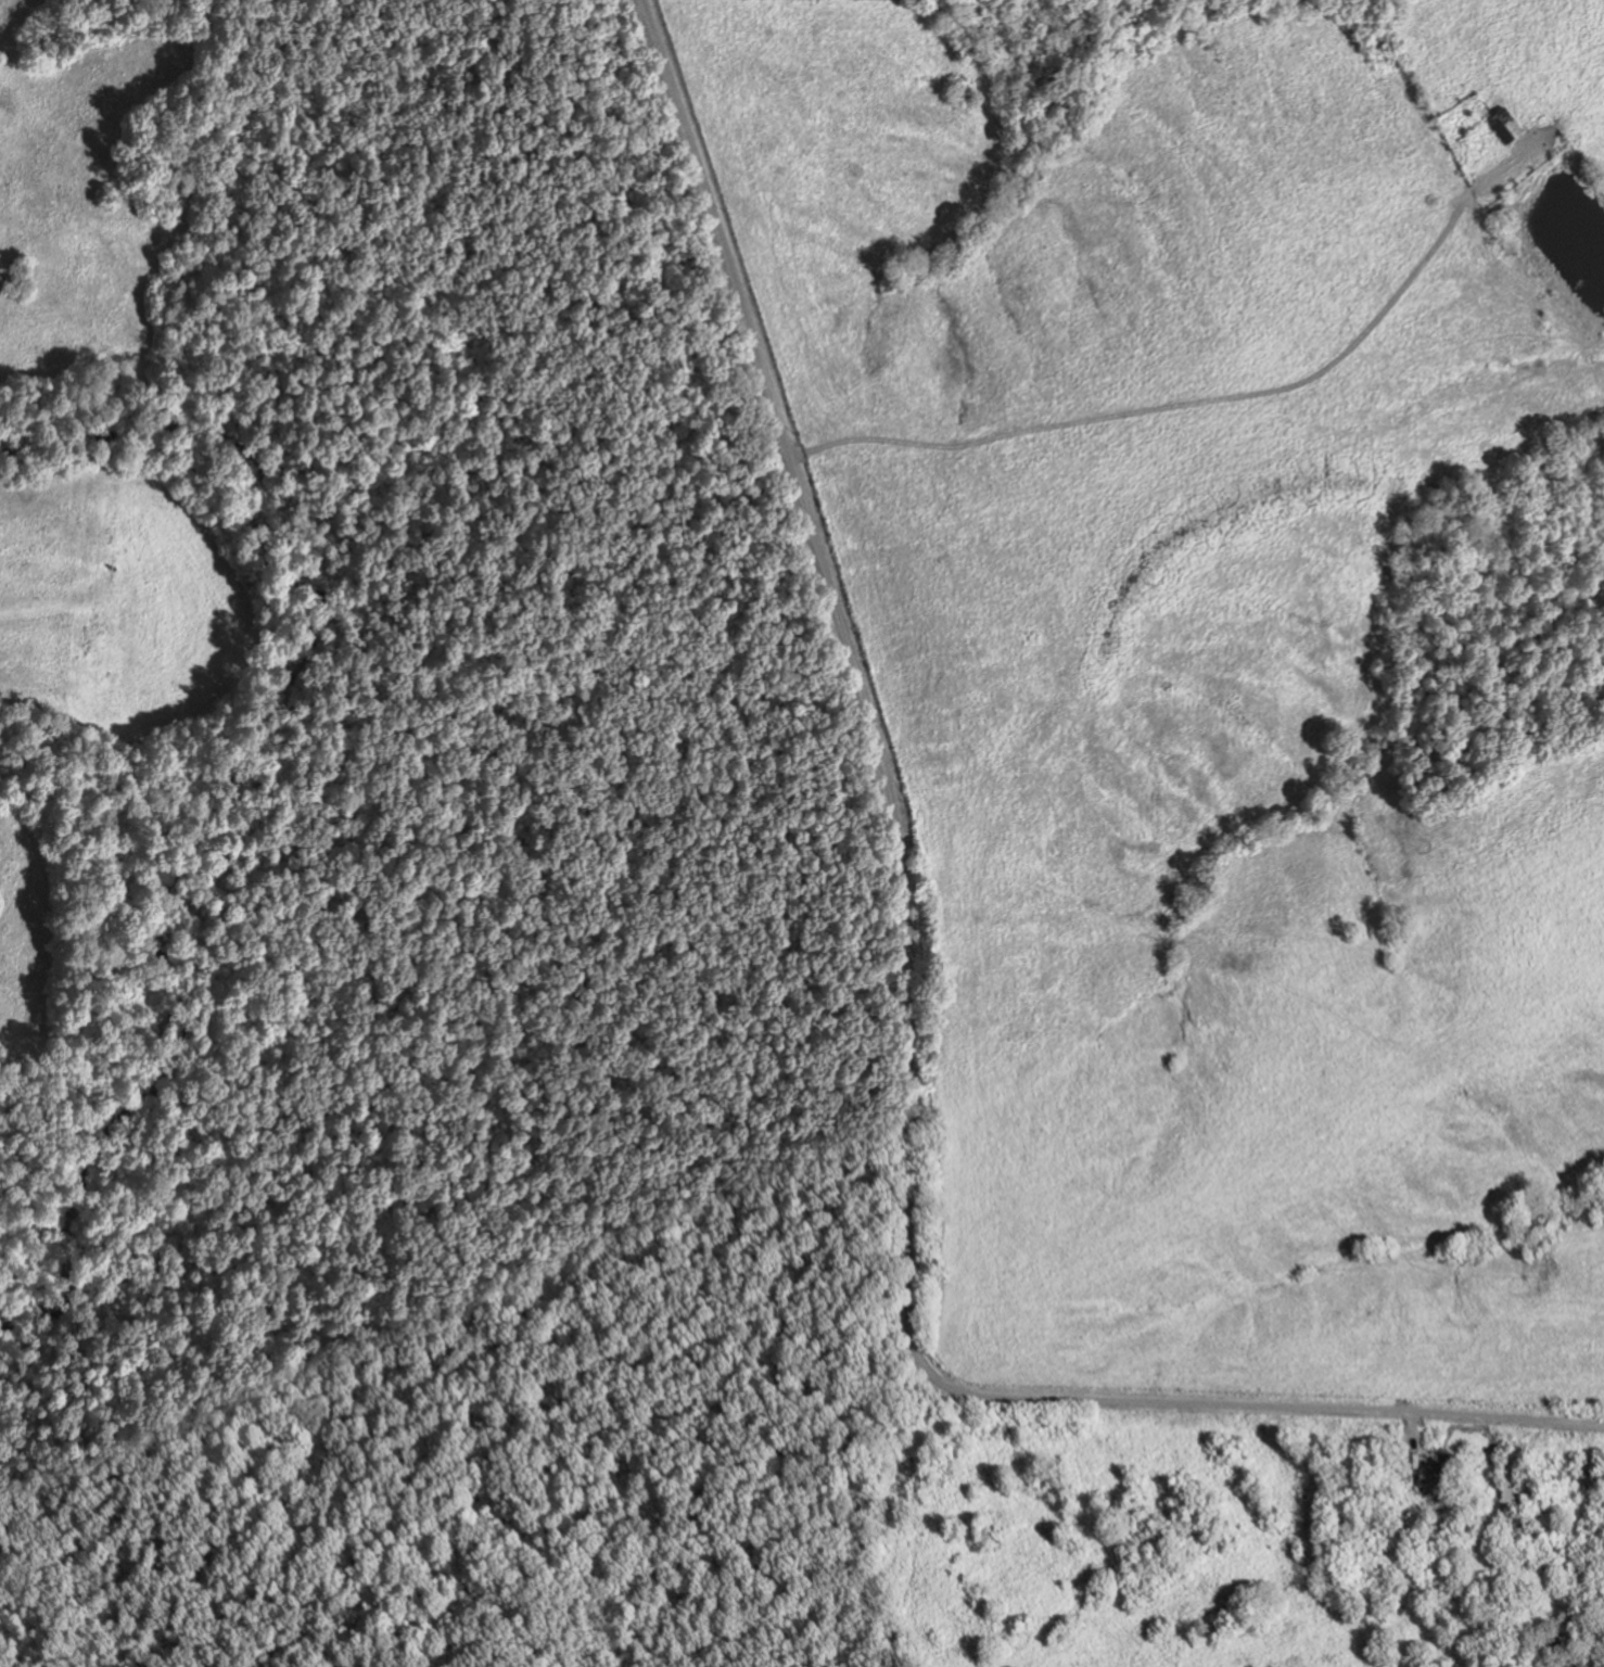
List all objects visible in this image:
building: (1500, 124)
road: (1169, 400)
road: (915, 1007)
road: (1413, 1437)
building: (1430, 1478)
building: (1512, 1529)
building: (1545, 1656)

